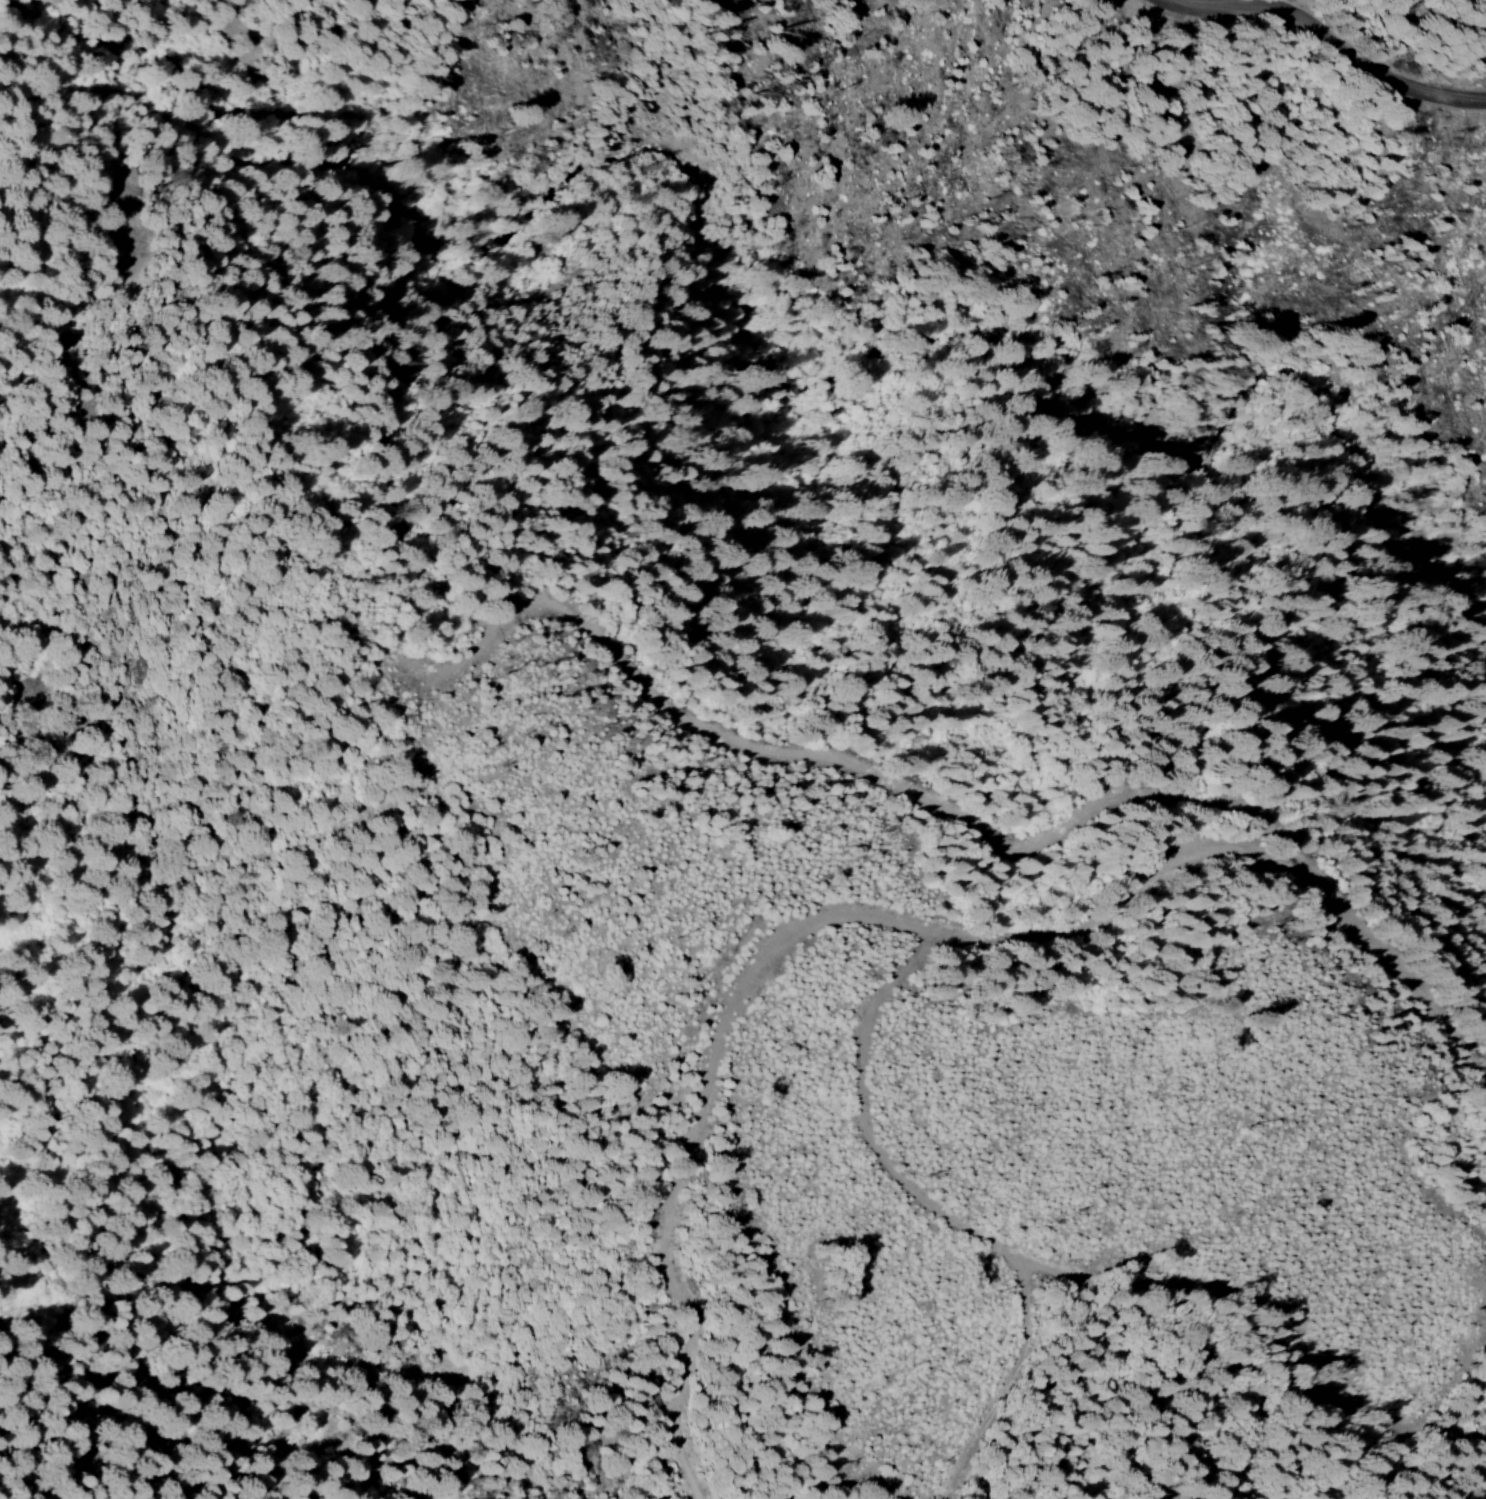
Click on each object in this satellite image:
road: (1389, 31)
road: (1329, 37)
road: (886, 923)

